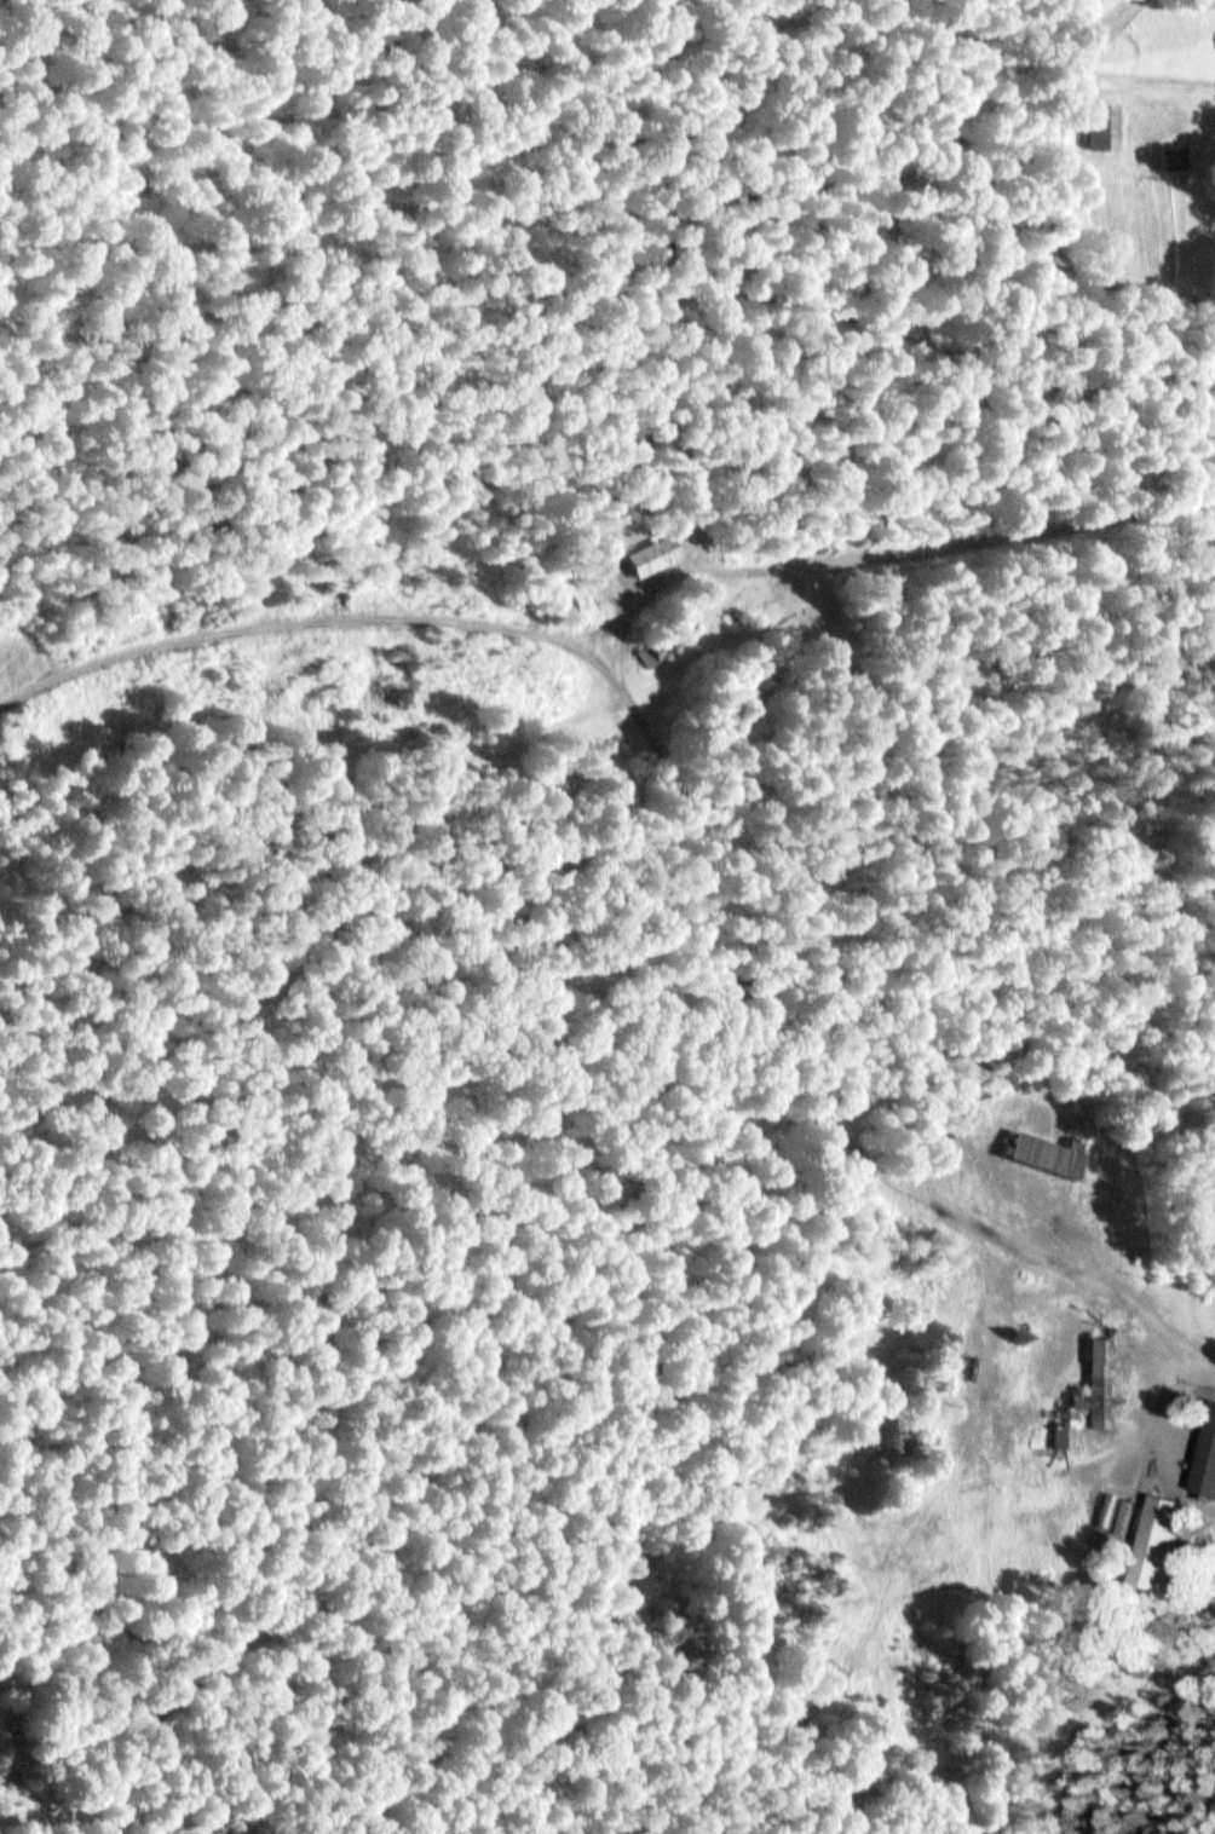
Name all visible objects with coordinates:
building: (1100, 126)
building: (1174, 157)
road: (991, 534)
building: (650, 555)
building: (748, 610)
building: (668, 640)
road: (684, 812)
building: (1046, 1154)
building: (1105, 1373)
building: (1061, 1438)
building: (1207, 1458)
building: (1158, 1542)
building: (823, 1551)

